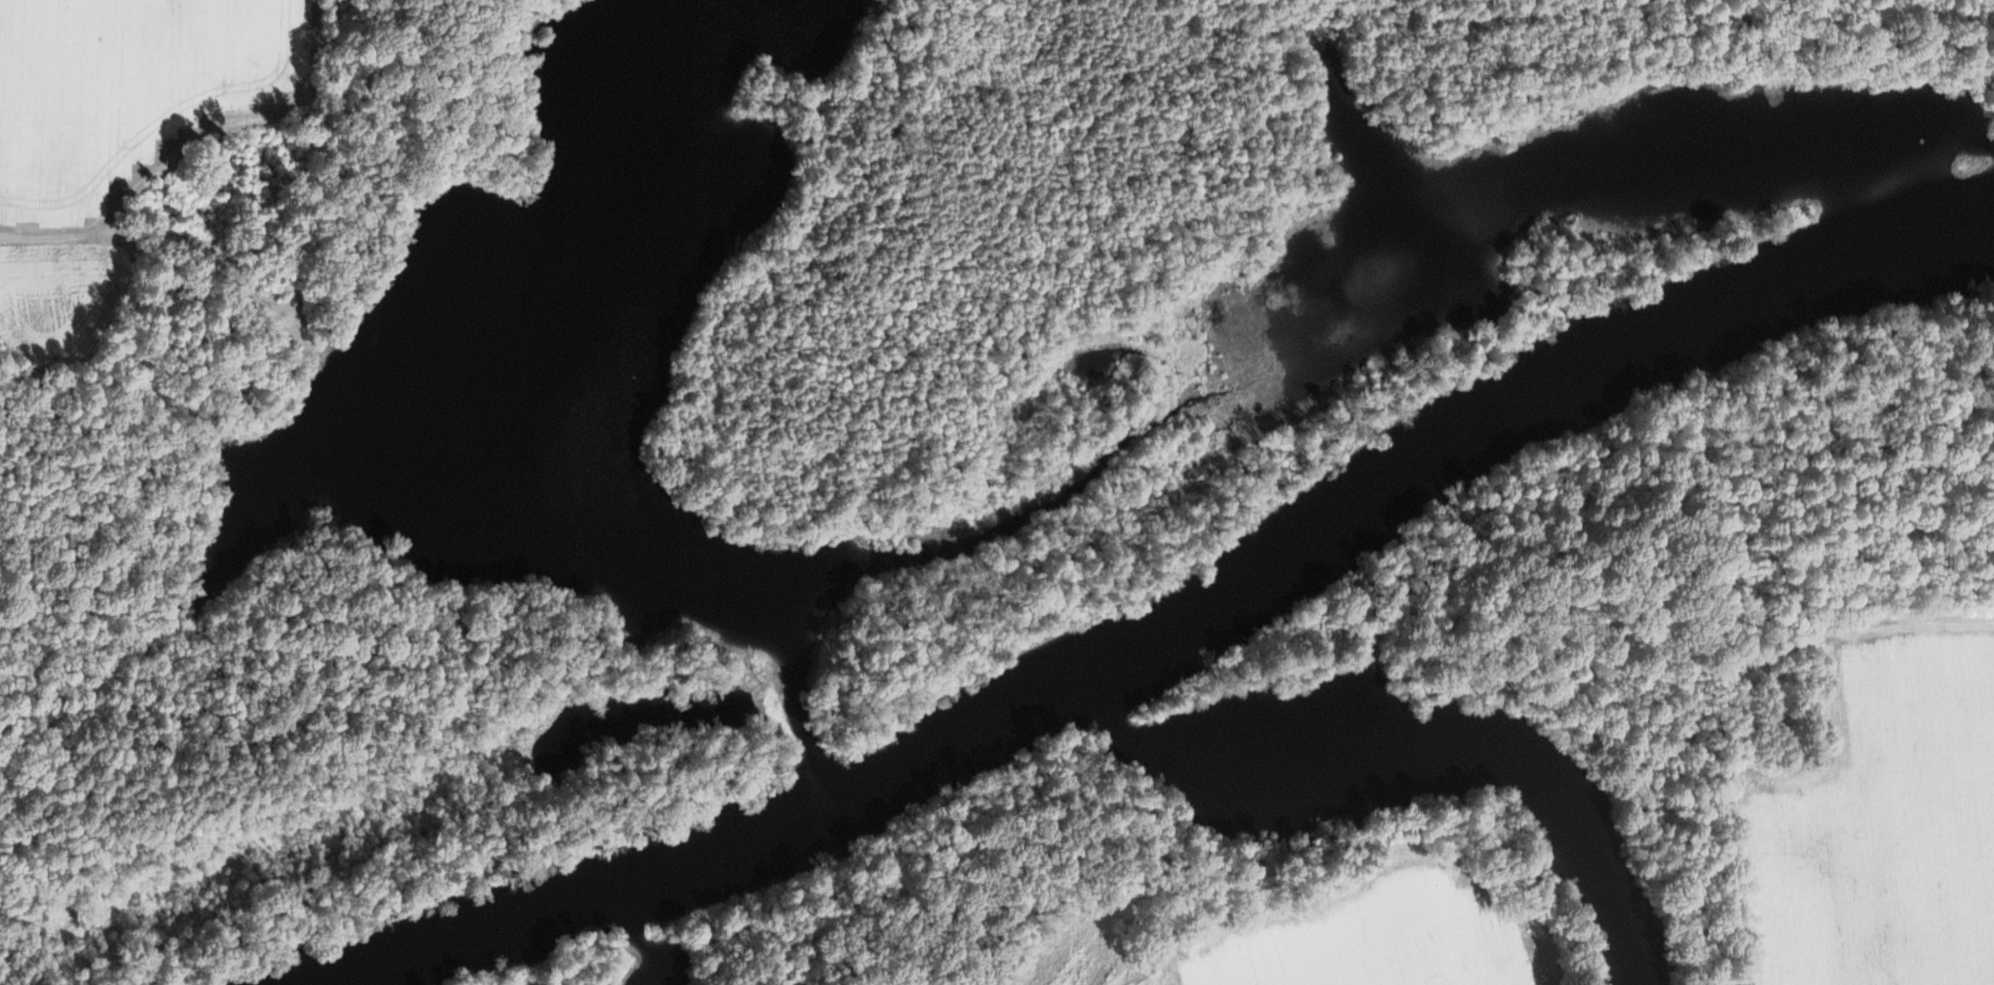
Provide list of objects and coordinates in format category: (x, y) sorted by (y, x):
river: (1805, 276)
river: (1337, 518)
river: (949, 746)
river: (722, 847)
river: (470, 942)

